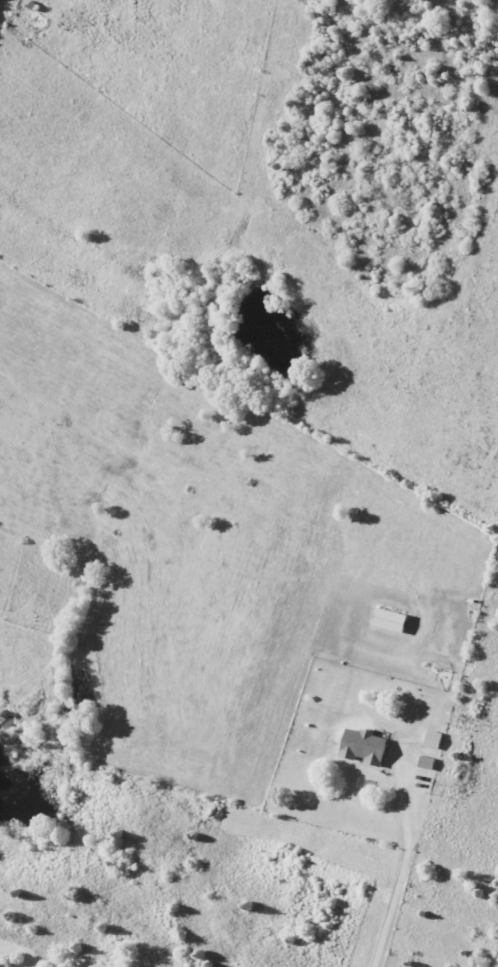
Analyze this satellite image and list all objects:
building: (394, 620)
building: (435, 740)
building: (367, 747)
road: (399, 876)

